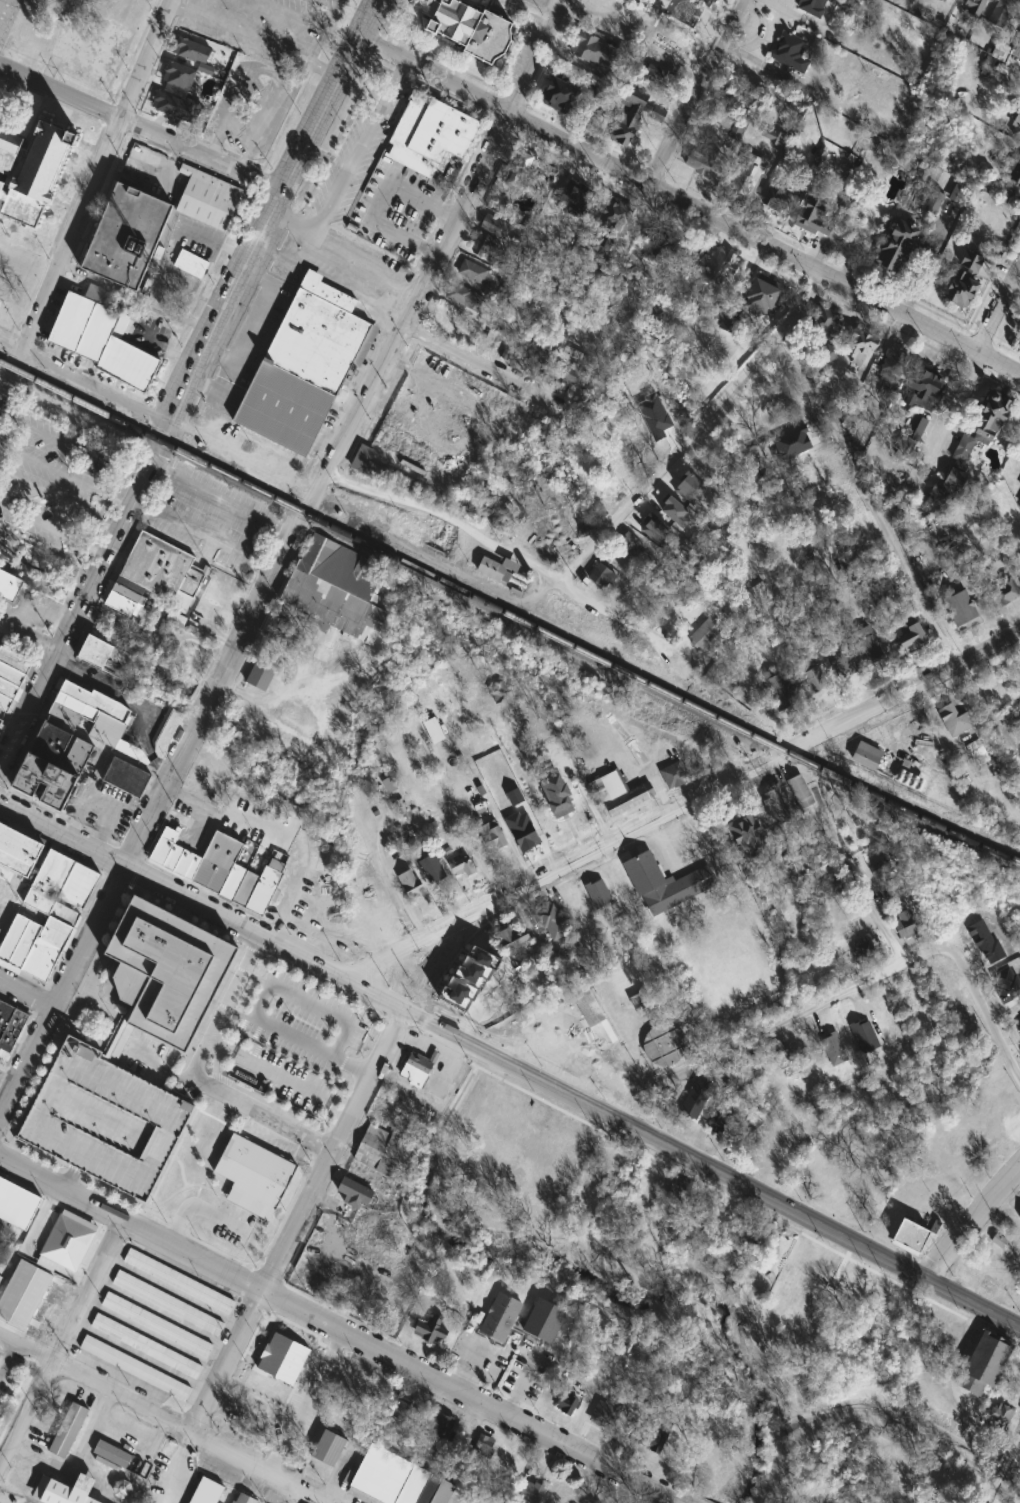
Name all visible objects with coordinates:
building: (815, 7)
building: (974, 7)
road: (525, 13)
building: (998, 14)
parking lot: (7, 17)
road: (304, 20)
parking lot: (268, 28)
building: (473, 28)
road: (254, 39)
parking lot: (90, 48)
building: (192, 50)
building: (591, 51)
building: (1017, 51)
building: (790, 52)
building: (179, 76)
road: (700, 93)
building: (559, 97)
building: (639, 104)
building: (172, 105)
building: (1016, 123)
road: (139, 127)
building: (429, 134)
parking lot: (360, 145)
road: (360, 149)
building: (700, 162)
building: (523, 169)
building: (30, 172)
building: (1013, 172)
building: (745, 178)
road: (665, 193)
road: (87, 197)
building: (208, 199)
road: (382, 203)
building: (775, 204)
parking lot: (394, 208)
building: (815, 216)
building: (494, 225)
building: (609, 227)
building: (127, 238)
building: (483, 246)
building: (895, 248)
building: (657, 250)
road: (345, 253)
building: (192, 265)
building: (718, 267)
building: (474, 273)
building: (963, 281)
building: (328, 294)
building: (464, 297)
building: (761, 298)
road: (998, 310)
building: (826, 323)
road: (256, 324)
building: (86, 325)
building: (1019, 340)
road: (11, 342)
building: (316, 343)
building: (860, 344)
road: (999, 364)
road: (487, 365)
building: (128, 366)
building: (893, 366)
railway: (187, 376)
road: (189, 384)
road: (97, 385)
building: (923, 389)
road: (951, 407)
building: (282, 409)
building: (915, 428)
road: (342, 432)
road: (678, 444)
building: (969, 448)
building: (641, 450)
road: (242, 456)
building: (361, 456)
building: (105, 458)
building: (99, 471)
parking lot: (51, 484)
building: (601, 497)
road: (868, 497)
road: (222, 498)
building: (1018, 502)
parking lot: (212, 517)
road: (222, 520)
road: (204, 533)
building: (628, 545)
road: (505, 547)
building: (1018, 560)
building: (509, 562)
building: (161, 566)
building: (492, 567)
building: (601, 576)
building: (130, 585)
building: (9, 586)
building: (334, 588)
building: (876, 592)
building: (1004, 592)
building: (759, 594)
building: (127, 595)
building: (122, 605)
building: (961, 611)
railway: (508, 614)
building: (277, 629)
building: (705, 632)
building: (912, 637)
road: (29, 639)
building: (759, 640)
building: (868, 646)
park: (183, 649)
building: (103, 654)
building: (14, 658)
building: (842, 665)
building: (11, 673)
building: (261, 673)
building: (811, 675)
building: (8, 688)
road: (291, 690)
building: (781, 692)
building: (5, 701)
building: (94, 702)
building: (74, 707)
building: (1017, 715)
building: (62, 716)
road: (11, 718)
building: (954, 718)
building: (0, 723)
building: (106, 731)
building: (167, 732)
building: (46, 744)
road: (96, 744)
road: (667, 748)
building: (975, 750)
building: (131, 753)
building: (866, 756)
building: (208, 771)
building: (127, 775)
building: (674, 775)
building: (48, 777)
building: (800, 792)
building: (618, 795)
building: (554, 796)
road: (586, 796)
road: (101, 797)
road: (691, 800)
building: (776, 805)
parking lot: (103, 807)
road: (221, 813)
parking lot: (242, 819)
building: (521, 831)
building: (170, 832)
building: (491, 836)
building: (745, 836)
building: (161, 849)
building: (18, 850)
building: (173, 855)
building: (182, 860)
building: (217, 860)
building: (192, 864)
building: (462, 866)
building: (433, 869)
building: (883, 869)
building: (233, 880)
road: (854, 881)
building: (410, 883)
road: (26, 884)
building: (48, 884)
building: (664, 884)
building: (246, 887)
road: (399, 887)
building: (830, 887)
building: (79, 888)
building: (263, 889)
building: (598, 894)
building: (571, 910)
building: (64, 916)
building: (548, 919)
building: (1, 920)
building: (905, 924)
building: (55, 934)
road: (85, 935)
building: (511, 941)
building: (17, 943)
building: (863, 948)
building: (40, 962)
building: (163, 970)
building: (469, 976)
road: (24, 991)
building: (645, 1000)
road: (258, 1002)
building: (587, 1006)
road: (983, 1007)
parking lot: (304, 1022)
building: (11, 1023)
road: (769, 1032)
building: (864, 1037)
building: (115, 1044)
building: (664, 1046)
storage tank: (664, 1046)
building: (834, 1049)
road: (24, 1050)
building: (781, 1053)
road: (161, 1064)
road: (510, 1065)
building: (754, 1066)
road: (6, 1068)
building: (418, 1068)
road: (270, 1070)
building: (733, 1075)
road: (197, 1076)
parking lot: (289, 1078)
road: (162, 1087)
building: (696, 1099)
building: (666, 1103)
road: (218, 1118)
building: (720, 1119)
building: (104, 1120)
parking lot: (104, 1120)
road: (331, 1151)
building: (383, 1151)
road: (173, 1155)
road: (1019, 1166)
road: (182, 1169)
building: (255, 1175)
road: (184, 1186)
building: (678, 1190)
building: (354, 1194)
building: (17, 1203)
road: (198, 1206)
building: (1019, 1217)
building: (1019, 1218)
road: (973, 1221)
parking lot: (230, 1222)
building: (933, 1225)
building: (1, 1226)
road: (129, 1226)
building: (909, 1234)
building: (745, 1235)
building: (998, 1239)
building: (68, 1244)
road: (841, 1264)
road: (771, 1265)
road: (704, 1272)
road: (884, 1275)
building: (1, 1278)
building: (181, 1283)
road: (84, 1291)
building: (23, 1295)
park: (795, 1301)
building: (169, 1305)
building: (500, 1317)
building: (544, 1320)
building: (159, 1327)
building: (431, 1328)
road: (7, 1339)
building: (149, 1348)
road: (33, 1352)
parking lot: (478, 1356)
building: (282, 1357)
road: (7, 1358)
building: (984, 1364)
building: (137, 1370)
road: (471, 1370)
parking lot: (527, 1371)
road: (214, 1381)
road: (520, 1384)
parking lot: (7, 1389)
parking lot: (309, 1392)
road: (468, 1399)
building: (567, 1404)
road: (303, 1405)
building: (398, 1405)
building: (251, 1410)
road: (26, 1413)
building: (1000, 1414)
building: (604, 1423)
building: (439, 1427)
building: (69, 1431)
road: (186, 1432)
building: (652, 1434)
building: (484, 1447)
building: (329, 1449)
building: (112, 1455)
road: (1000, 1466)
road: (782, 1480)
building: (395, 1481)
building: (68, 1492)
building: (531, 1493)
building: (244, 1499)

